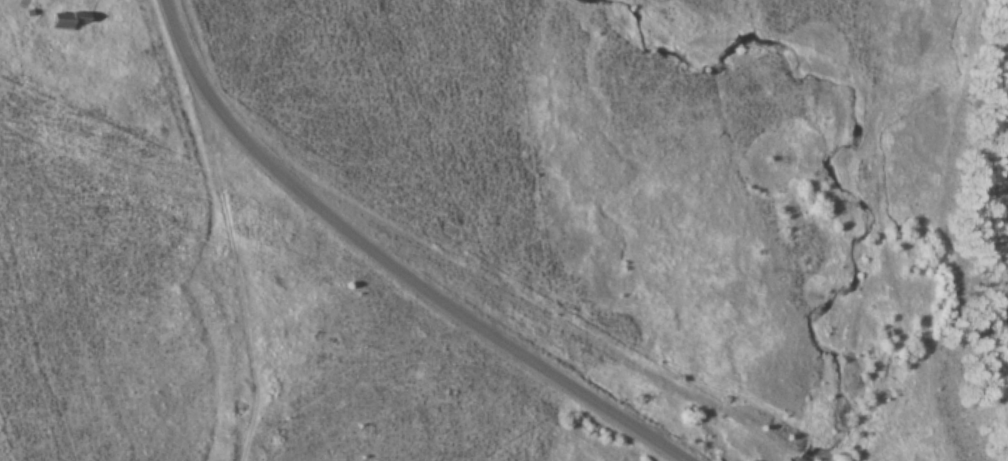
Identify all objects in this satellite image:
building: (65, 20)
road: (235, 263)
road: (392, 264)

